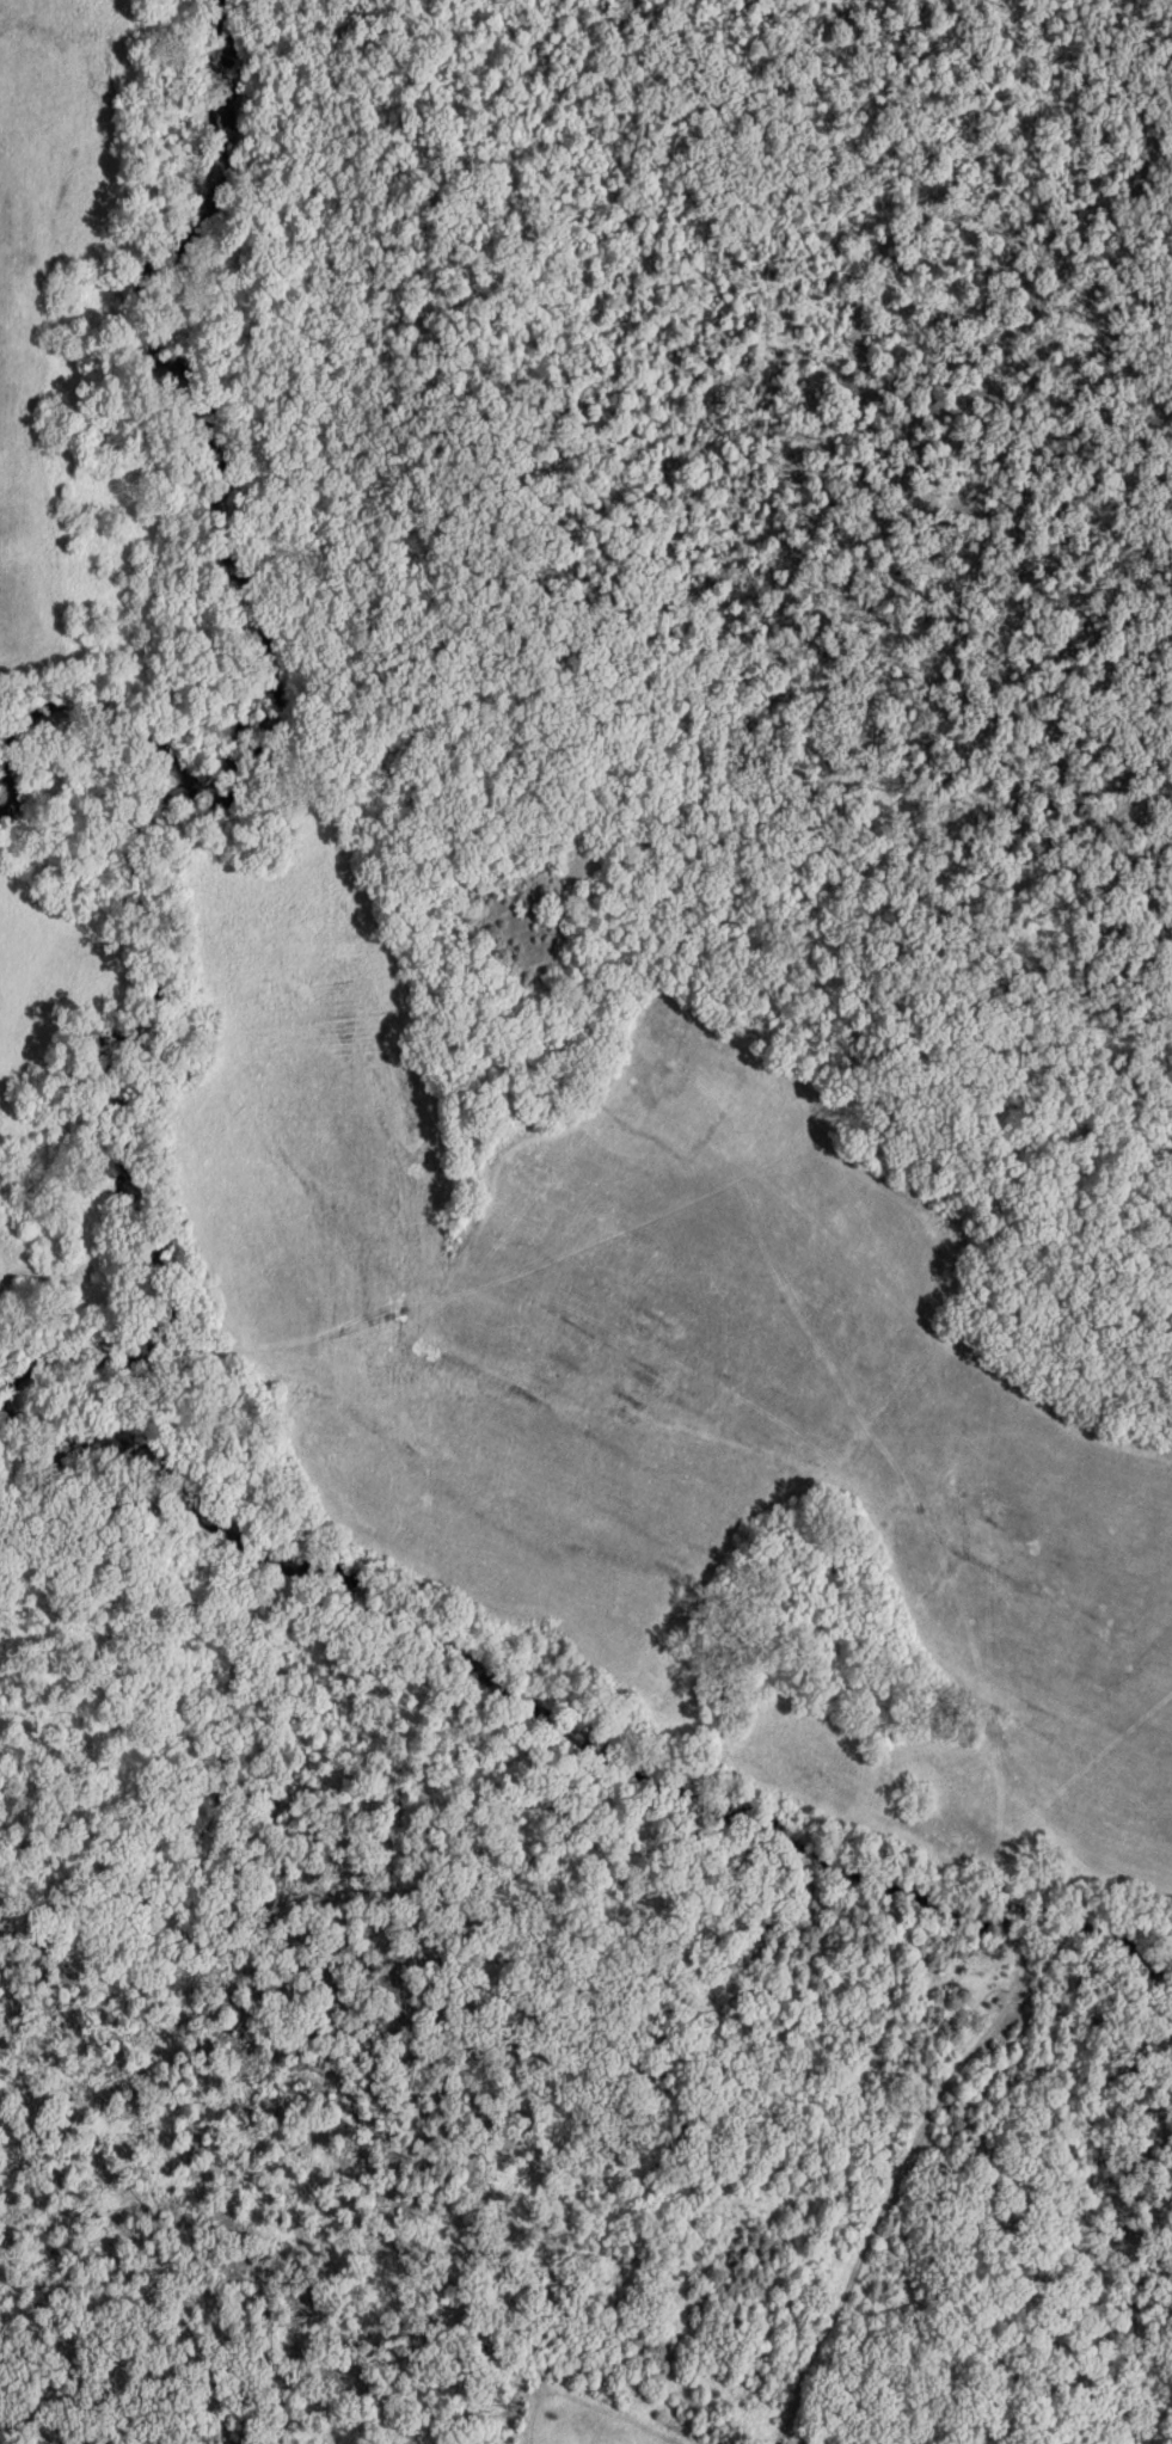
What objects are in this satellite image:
road: (85, 845)

